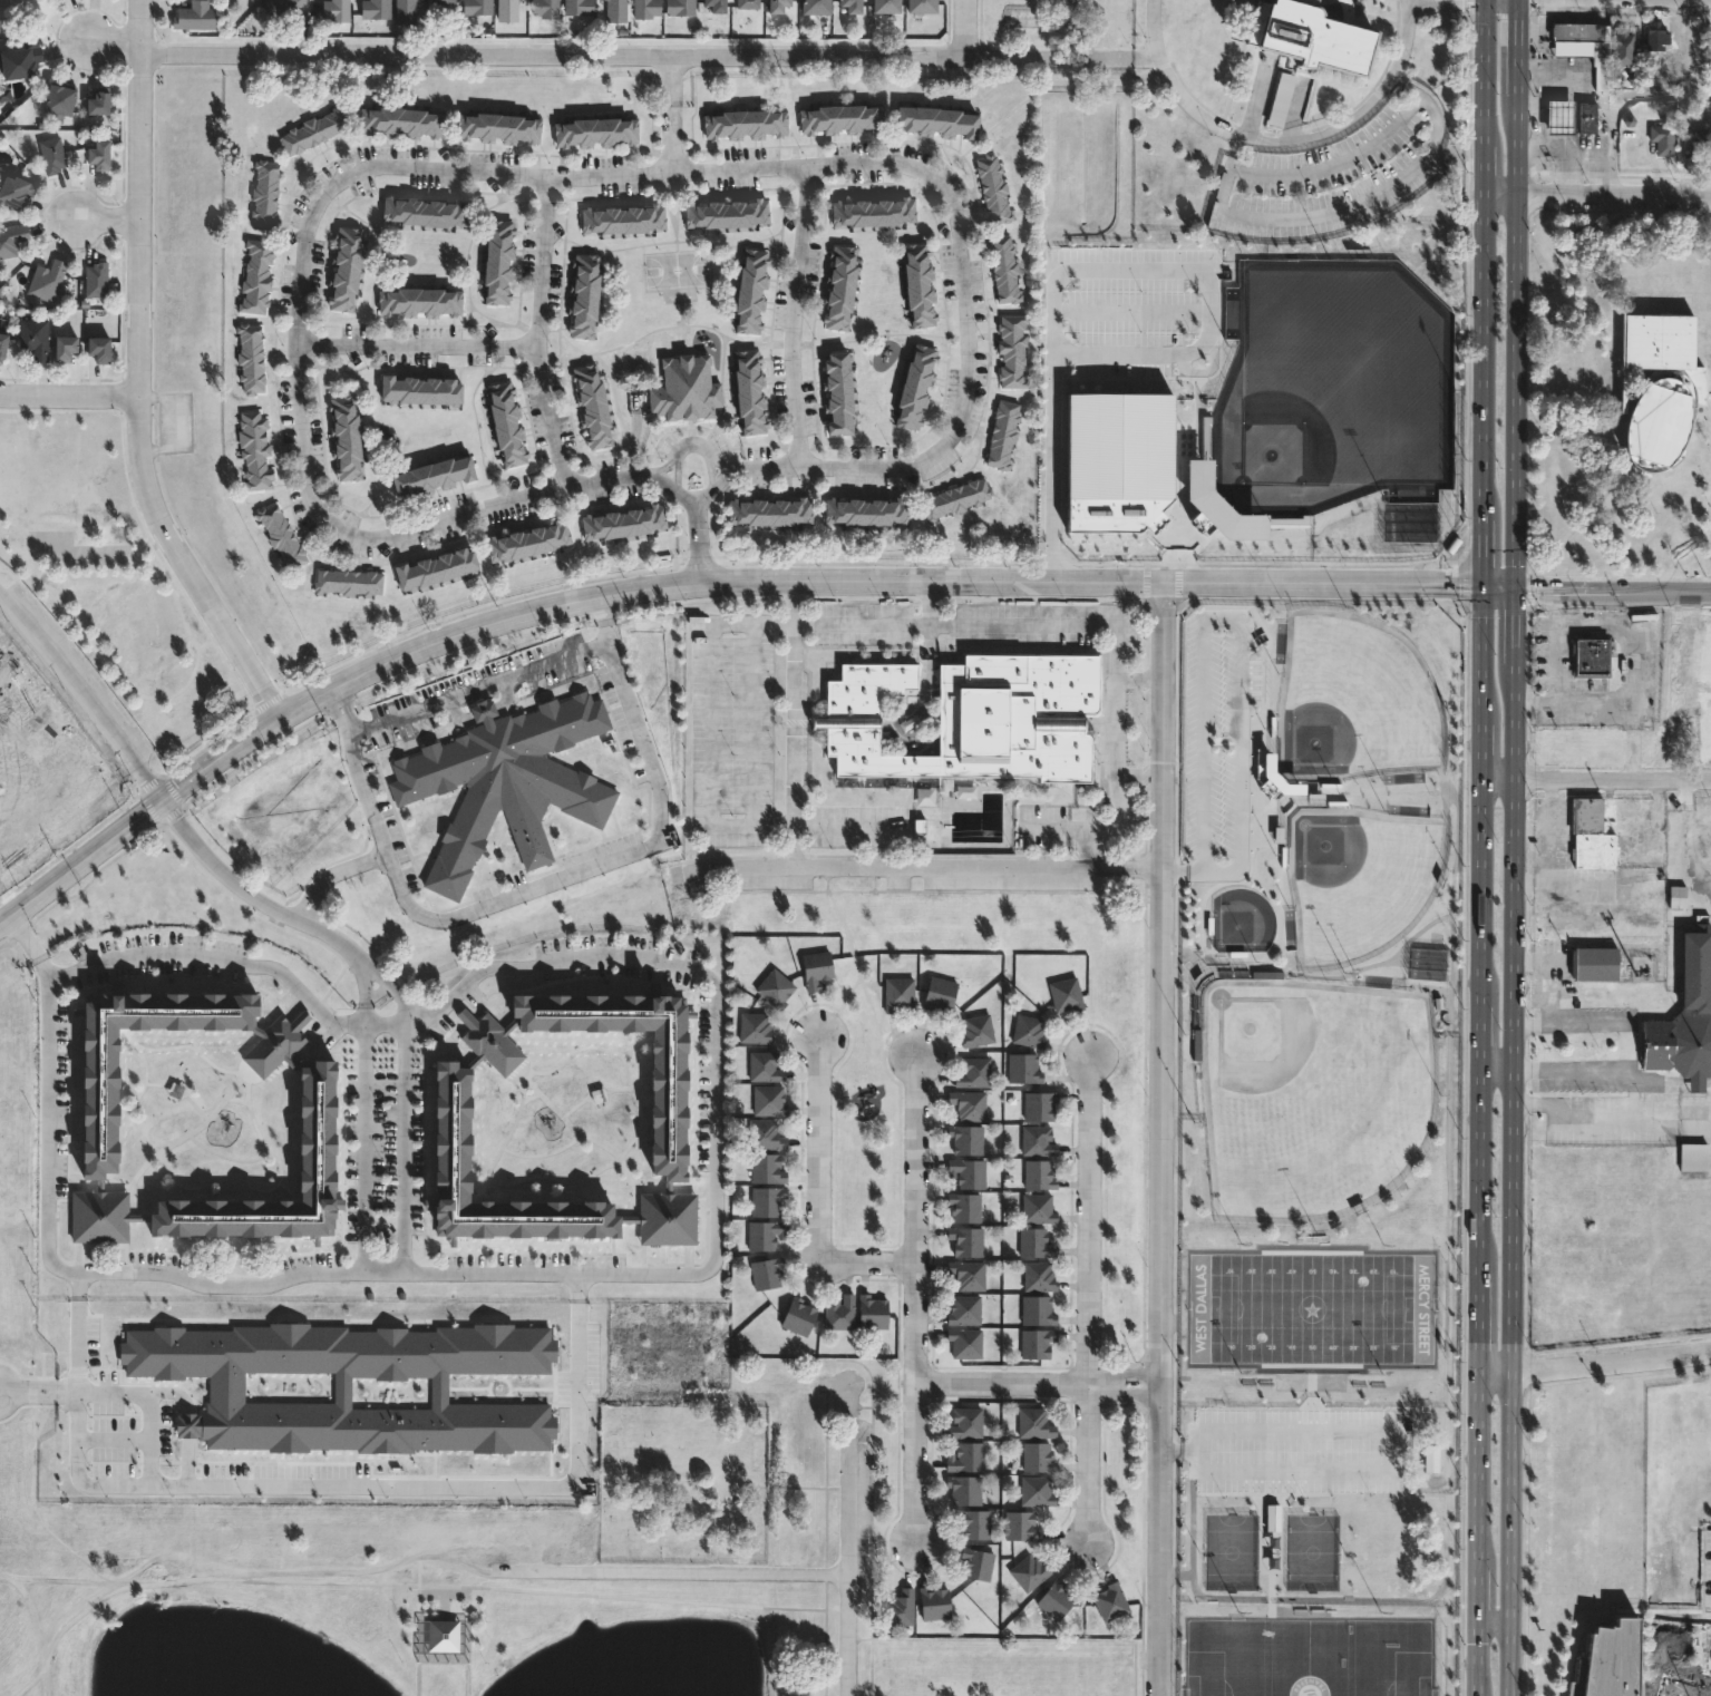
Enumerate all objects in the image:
building: (62, 0)
building: (256, 0)
building: (445, 2)
building: (749, 4)
building: (279, 6)
building: (717, 6)
building: (780, 6)
building: (852, 6)
building: (888, 7)
building: (924, 7)
building: (477, 8)
building: (580, 8)
building: (681, 8)
building: (817, 8)
building: (376, 9)
building: (546, 9)
building: (648, 9)
building: (336, 10)
building: (616, 10)
building: (507, 11)
building: (406, 12)
building: (195, 17)
road: (965, 27)
building: (1577, 29)
building: (1313, 33)
building: (1657, 37)
road: (115, 42)
building: (1625, 48)
road: (628, 57)
road: (1122, 58)
road: (1139, 59)
road: (1154, 59)
building: (20, 64)
road: (672, 79)
road: (1605, 97)
building: (59, 99)
building: (99, 100)
building: (1284, 100)
building: (1557, 115)
gas station: (1557, 115)
building: (1586, 115)
building: (840, 116)
building: (400, 119)
building: (936, 119)
building: (745, 121)
building: (497, 125)
building: (595, 128)
building: (313, 130)
road: (674, 136)
building: (1665, 138)
building: (1698, 142)
road: (1282, 145)
building: (52, 154)
building: (99, 154)
road: (1336, 162)
parking lot: (1333, 174)
road: (545, 175)
building: (993, 187)
building: (13, 188)
road: (1597, 192)
building: (264, 193)
road: (1347, 207)
building: (424, 209)
building: (873, 211)
building: (726, 212)
road: (107, 217)
building: (623, 217)
building: (11, 238)
building: (498, 261)
building: (346, 266)
building: (1004, 269)
road: (1090, 270)
building: (255, 275)
building: (47, 279)
building: (96, 279)
building: (920, 283)
building: (839, 285)
building: (751, 289)
building: (583, 294)
road: (1578, 295)
building: (419, 300)
parking lot: (1135, 311)
road: (793, 316)
road: (538, 332)
building: (33, 338)
building: (1661, 342)
building: (2, 343)
building: (66, 347)
road: (417, 347)
building: (99, 348)
building: (1012, 350)
building: (250, 358)
road: (139, 374)
building: (916, 384)
building: (686, 388)
building: (420, 389)
building: (750, 389)
building: (837, 391)
park: (1336, 391)
park: (1621, 397)
road: (69, 399)
building: (592, 403)
building: (1659, 417)
building: (506, 422)
building: (1003, 432)
building: (346, 438)
building: (254, 449)
building: (1120, 458)
road: (677, 460)
road: (720, 460)
road: (664, 466)
road: (737, 467)
building: (434, 474)
road: (722, 474)
road: (650, 476)
road: (665, 480)
building: (956, 498)
building: (770, 510)
building: (867, 510)
building: (623, 522)
road: (1577, 529)
building: (281, 535)
road: (699, 537)
building: (527, 540)
road: (862, 561)
building: (437, 567)
park: (108, 574)
building: (348, 581)
road: (712, 581)
traffic signals: (1484, 584)
traffic signals: (1517, 591)
road: (1614, 591)
road: (603, 606)
road: (1239, 615)
road: (1633, 625)
road: (606, 632)
road: (1557, 645)
road: (1117, 650)
building: (1594, 655)
parking lot: (1594, 666)
road: (794, 675)
road: (1140, 679)
road: (82, 693)
road: (506, 695)
road: (456, 696)
park: (1355, 699)
road: (1614, 700)
road: (484, 711)
road: (456, 714)
building: (973, 719)
road: (713, 723)
road: (754, 725)
parking lot: (732, 730)
building: (10, 770)
road: (1140, 771)
road: (1596, 778)
building: (506, 782)
road: (847, 826)
parking lot: (856, 826)
parking lot: (1043, 828)
building: (1593, 835)
road: (1690, 835)
road: (1482, 847)
road: (1514, 847)
road: (918, 866)
road: (1184, 868)
road: (330, 874)
park: (1358, 876)
park: (1295, 877)
road: (541, 884)
road: (252, 895)
park: (1243, 920)
road: (22, 935)
road: (236, 964)
building: (1596, 964)
road: (42, 967)
building: (815, 968)
road: (861, 975)
building: (774, 987)
building: (897, 993)
building: (940, 993)
building: (1066, 994)
road: (842, 1006)
building: (1686, 1015)
parking lot: (1582, 1017)
road: (717, 1024)
road: (1571, 1025)
building: (754, 1027)
building: (975, 1030)
building: (1028, 1031)
road: (1627, 1047)
building: (764, 1066)
road: (1497, 1066)
road: (1571, 1066)
building: (1023, 1068)
building: (973, 1072)
parking lot: (1590, 1076)
park: (1314, 1091)
building: (768, 1100)
building: (968, 1104)
building: (1039, 1105)
road: (406, 1111)
building: (1586, 1113)
road: (1692, 1115)
road: (1652, 1117)
parking lot: (1613, 1118)
road: (1595, 1119)
road: (363, 1120)
building: (668, 1127)
building: (101, 1128)
building: (455, 1131)
building: (320, 1132)
road: (48, 1133)
building: (765, 1134)
building: (965, 1138)
road: (1163, 1139)
building: (1037, 1140)
building: (766, 1168)
building: (966, 1172)
building: (1039, 1173)
road: (819, 1199)
building: (766, 1200)
building: (964, 1206)
building: (1037, 1208)
building: (101, 1218)
building: (762, 1234)
building: (965, 1240)
building: (1033, 1242)
building: (765, 1273)
building: (968, 1274)
building: (1038, 1276)
road: (77, 1285)
road: (1089, 1298)
road: (918, 1300)
park: (1312, 1306)
building: (963, 1309)
building: (838, 1310)
building: (869, 1310)
building: (1037, 1310)
building: (797, 1315)
building: (964, 1343)
building: (1036, 1343)
road: (77, 1345)
road: (1594, 1363)
road: (1124, 1373)
road: (1003, 1383)
building: (351, 1385)
road: (1122, 1394)
road: (148, 1406)
building: (964, 1421)
building: (1033, 1422)
road: (1394, 1430)
parking lot: (1300, 1453)
road: (577, 1454)
building: (1037, 1454)
building: (966, 1455)
building: (963, 1488)
park: (412, 1489)
building: (1036, 1489)
building: (972, 1521)
building: (1020, 1523)
road: (850, 1539)
building: (1707, 1539)
park: (1312, 1549)
park: (1232, 1550)
building: (976, 1561)
road: (673, 1569)
building: (1028, 1571)
road: (397, 1583)
road: (826, 1590)
building: (1054, 1598)
building: (1110, 1600)
building: (933, 1601)
parking lot: (1710, 1604)
building: (898, 1606)
road: (1495, 1619)
building: (443, 1636)
road: (775, 1649)
road: (826, 1653)
park: (1306, 1657)
building: (1613, 1663)

